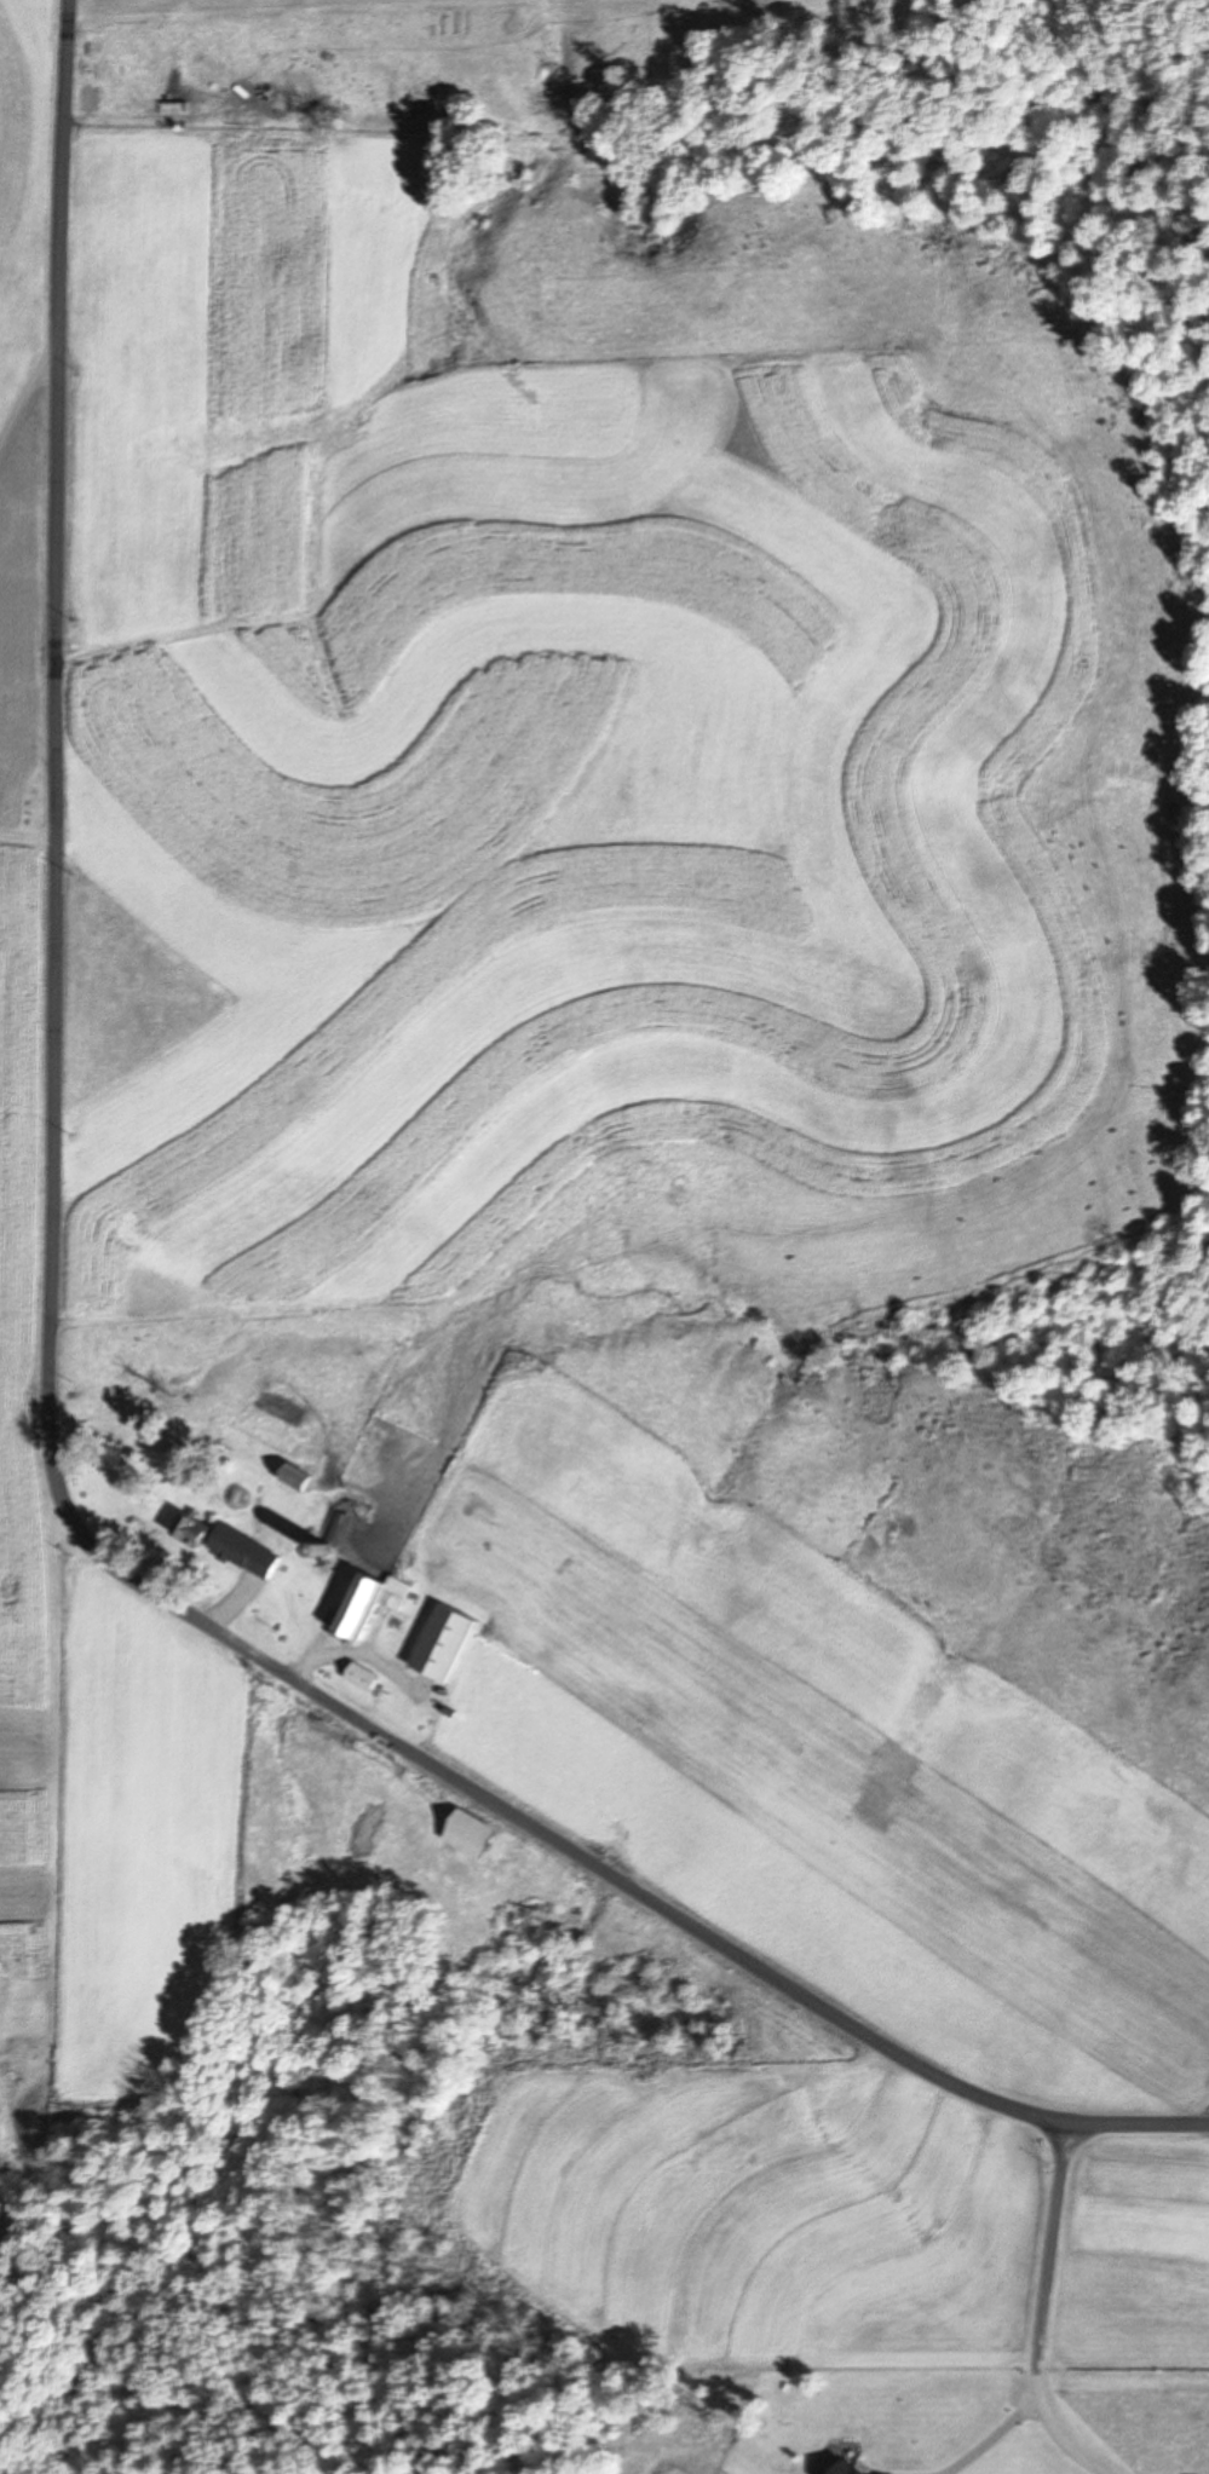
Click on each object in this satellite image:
road: (29, 379)
road: (30, 831)
road: (56, 1415)
building: (190, 1530)
building: (242, 1552)
building: (368, 1605)
building: (443, 1645)
building: (361, 1680)
road: (1042, 2313)

